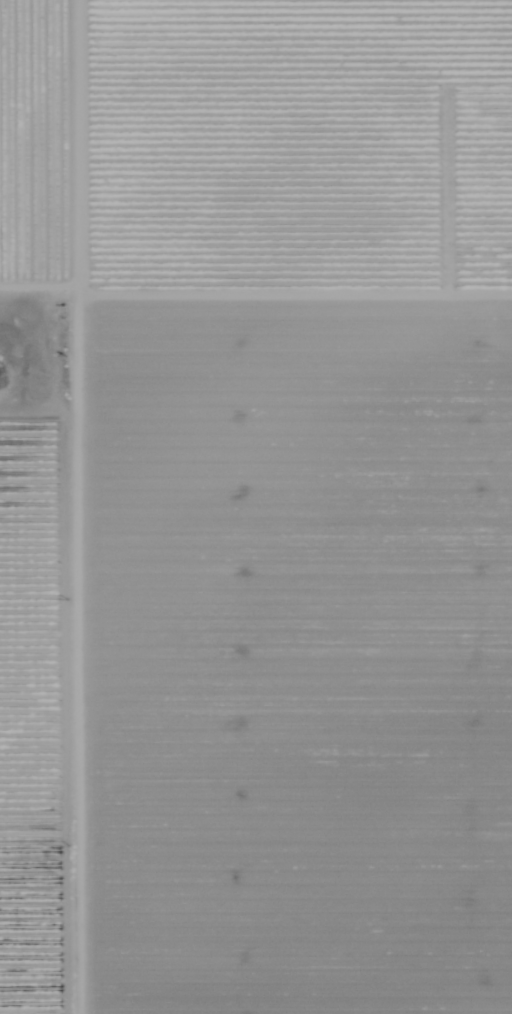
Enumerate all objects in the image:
road: (67, 719)

